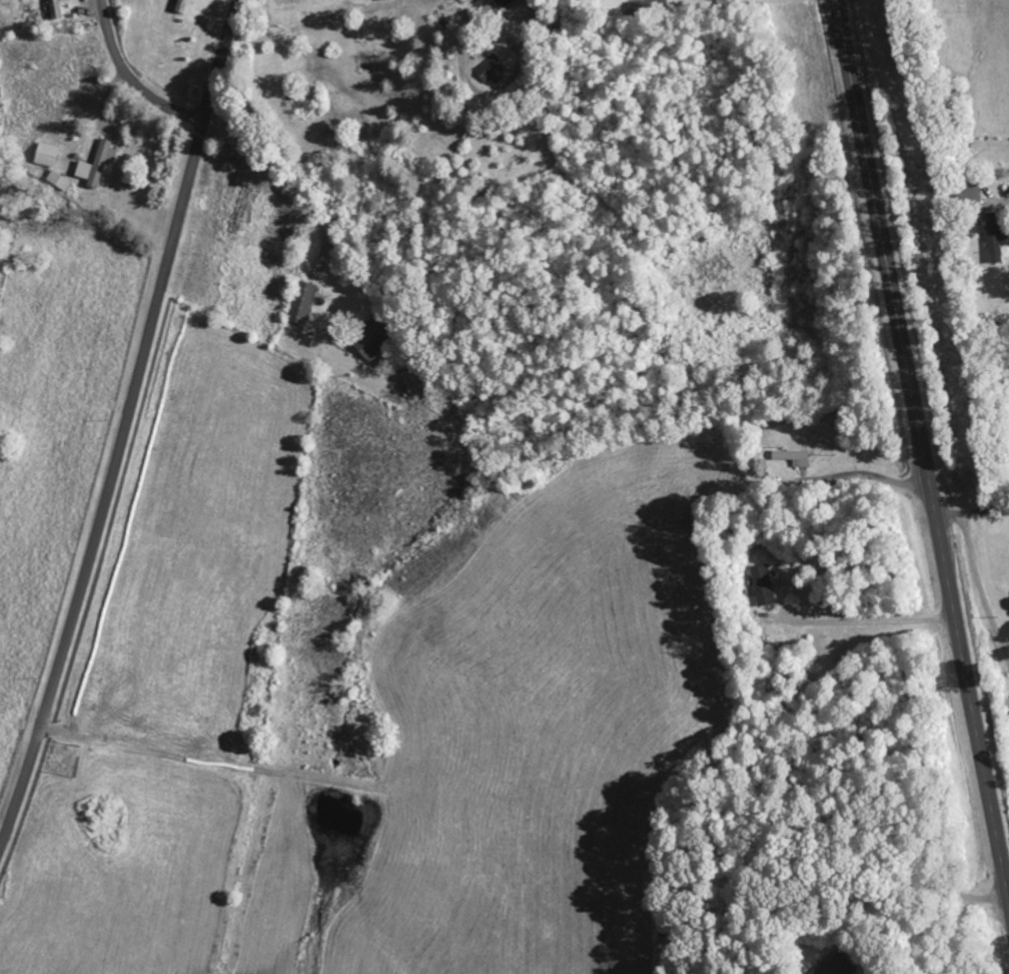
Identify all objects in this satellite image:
building: (384, 0)
building: (505, 2)
building: (182, 6)
building: (642, 7)
building: (54, 9)
building: (491, 69)
road: (131, 78)
building: (46, 154)
building: (97, 164)
building: (59, 180)
building: (240, 209)
building: (996, 235)
building: (303, 302)
road: (124, 423)
road: (923, 448)
building: (793, 457)
building: (763, 585)
building: (838, 966)

